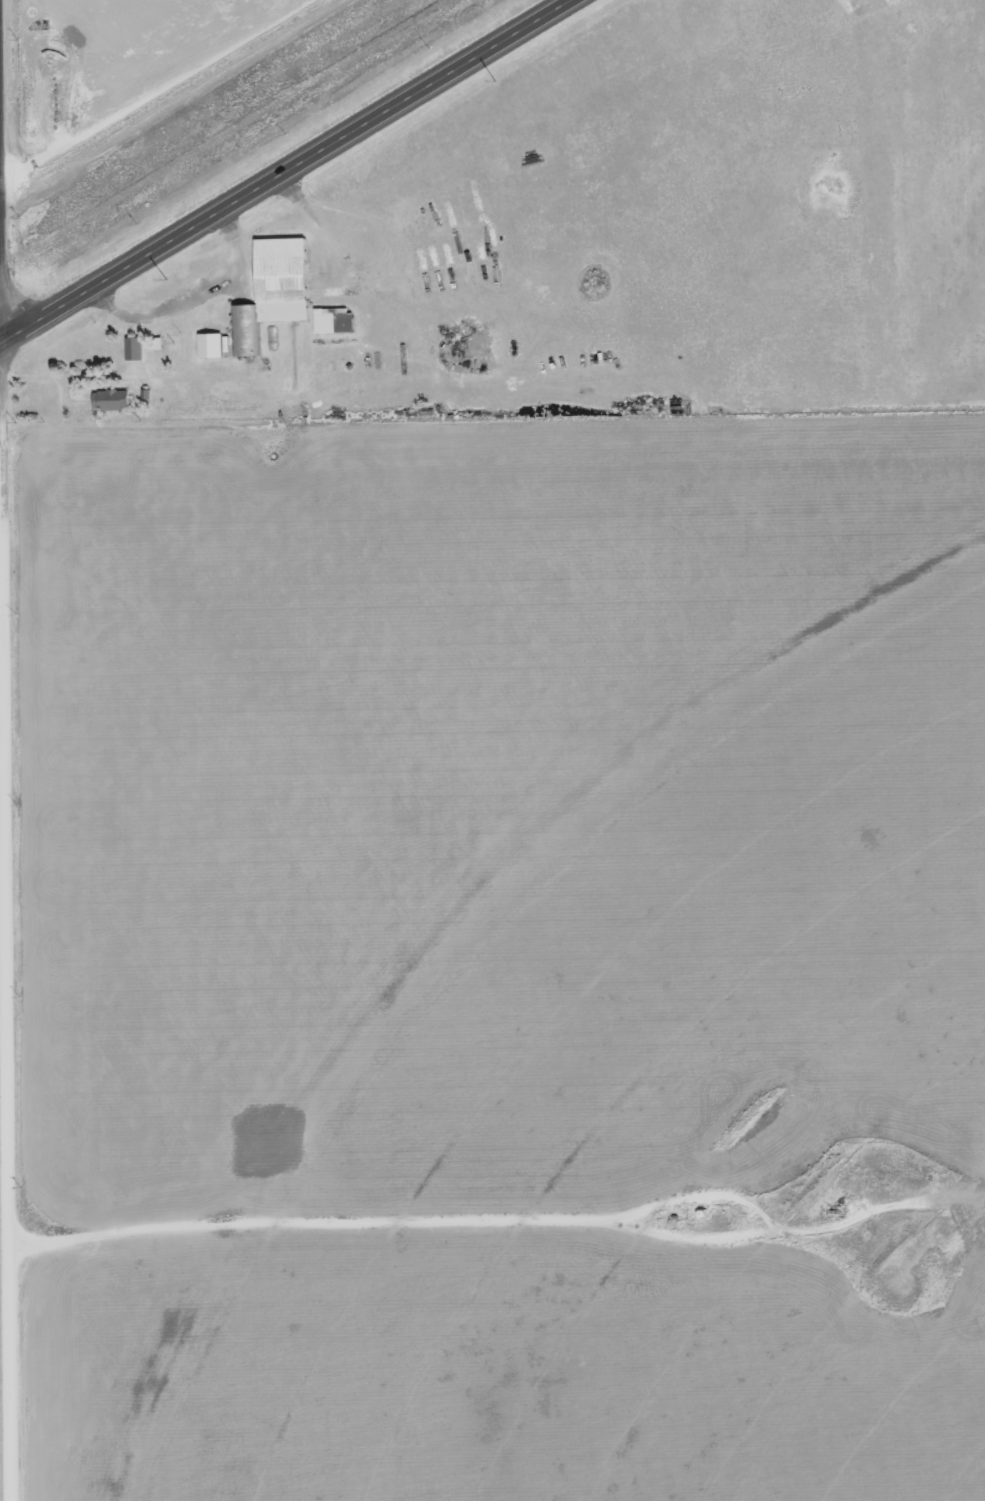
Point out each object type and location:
road: (121, 71)
power tower: (491, 79)
road: (287, 173)
power tower: (160, 273)
building: (330, 319)
building: (206, 344)
road: (9, 821)

